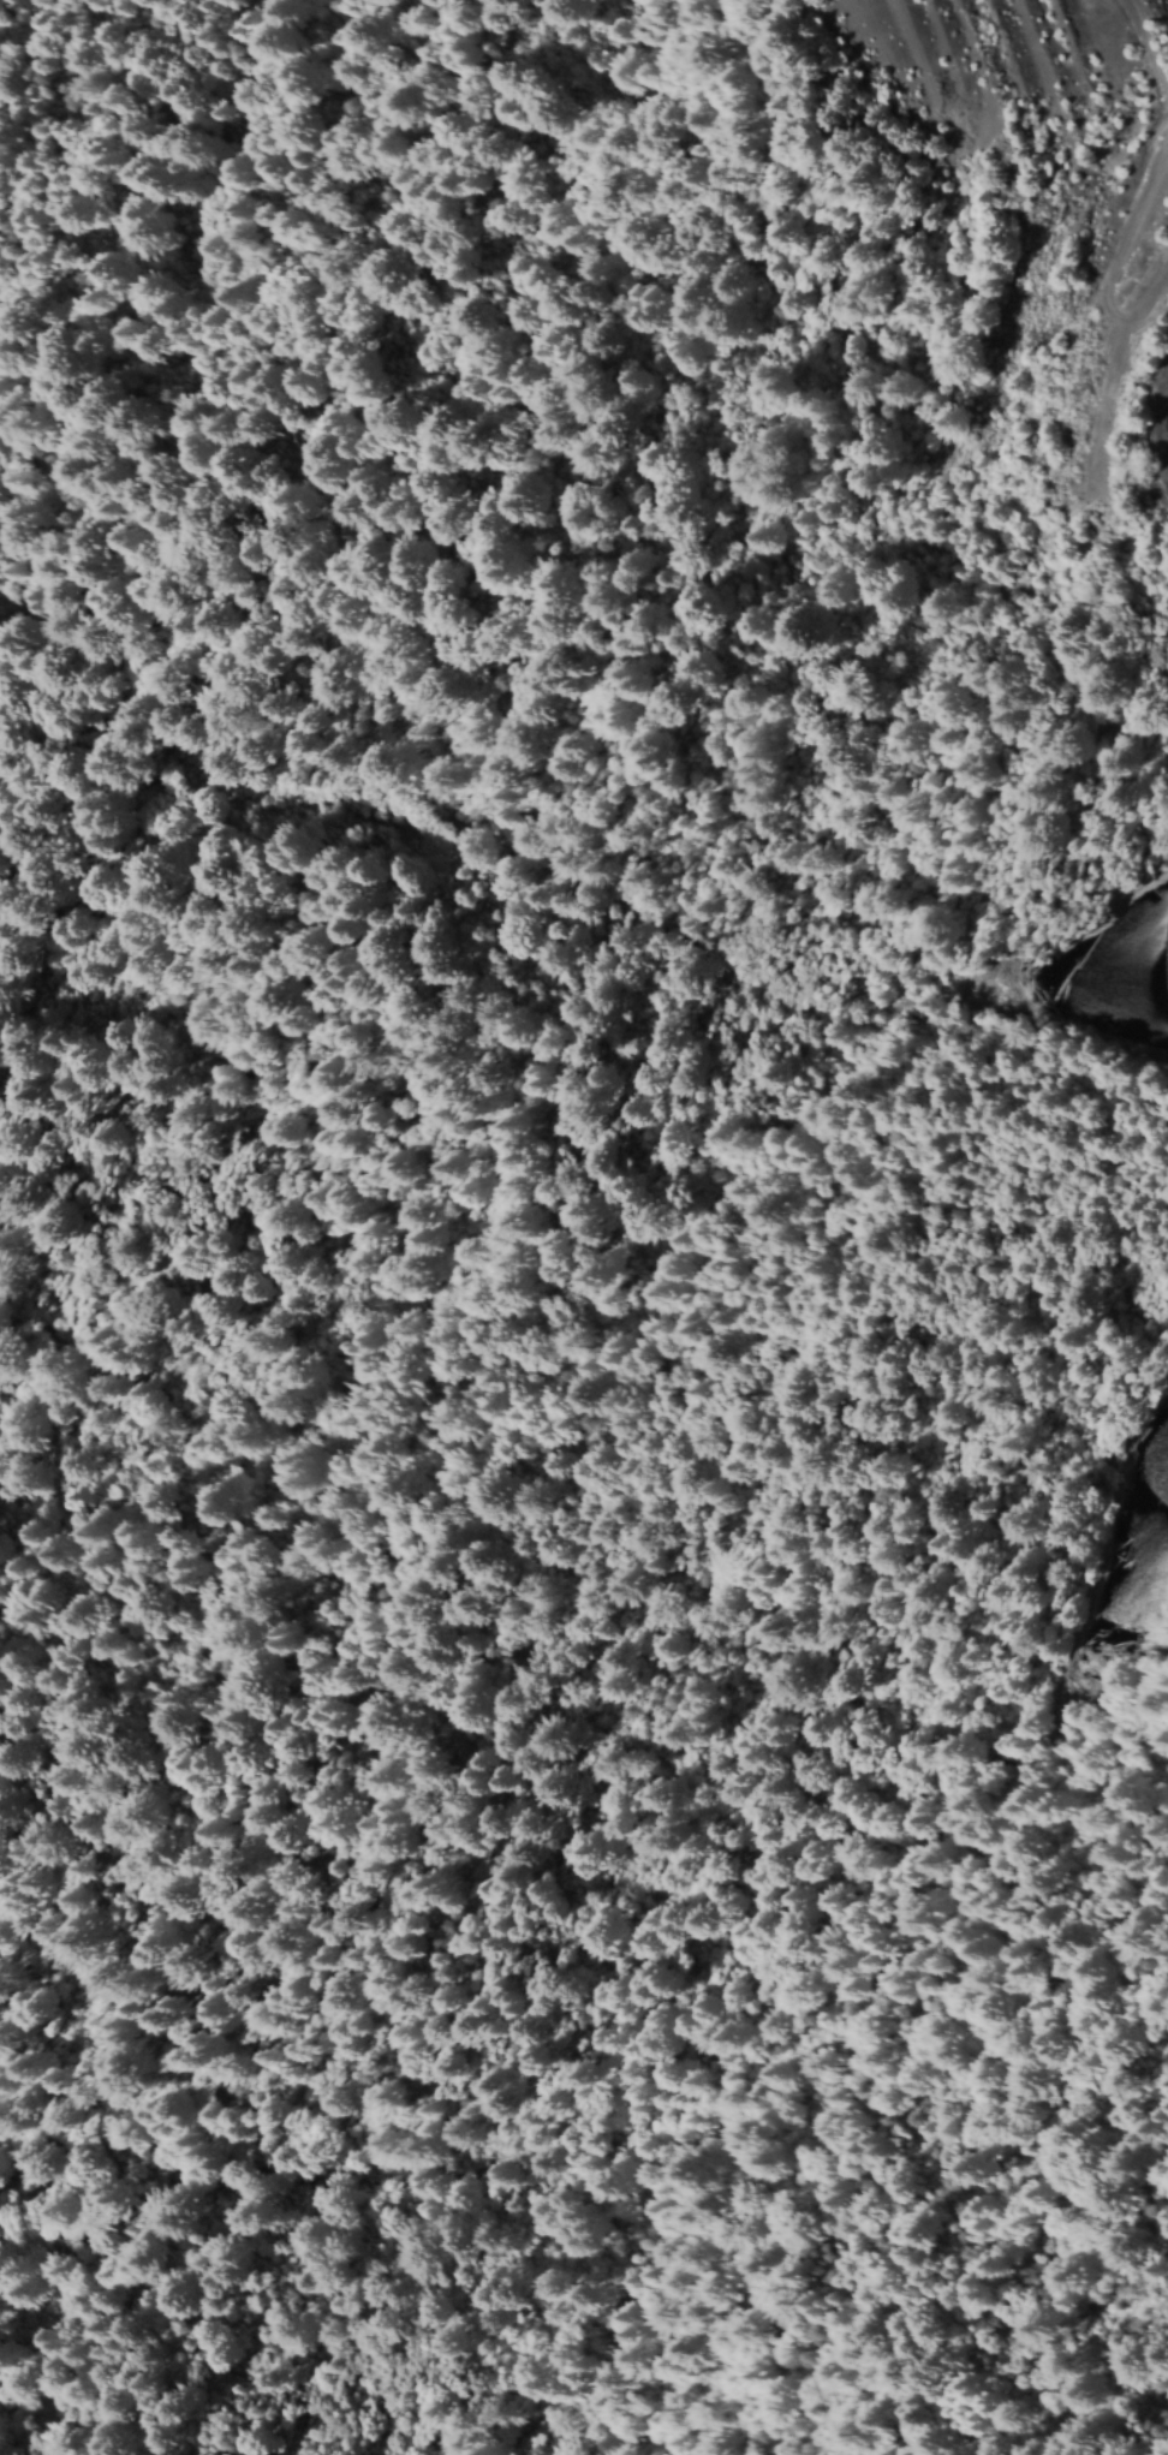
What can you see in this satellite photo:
road: (1148, 42)
road: (1121, 258)

